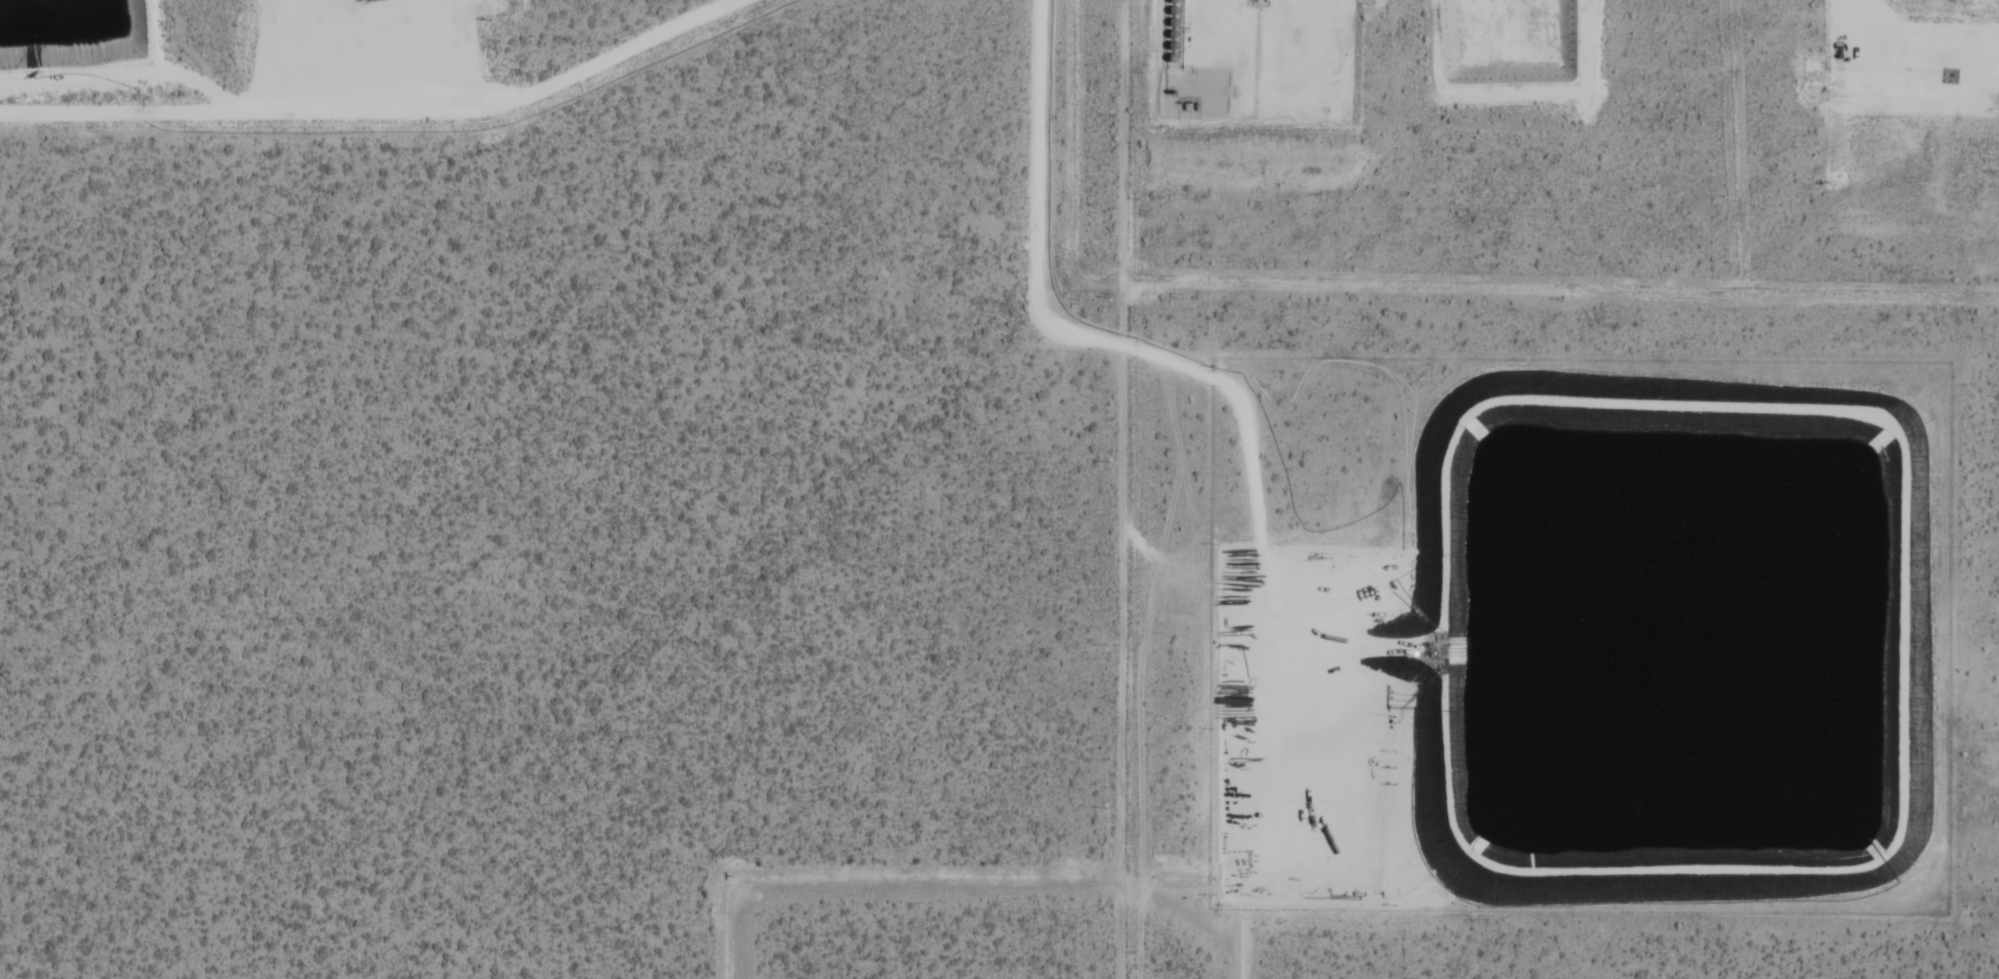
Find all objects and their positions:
road: (1923, 17)
road: (411, 58)
road: (1345, 99)
road: (381, 115)
road: (1211, 382)

